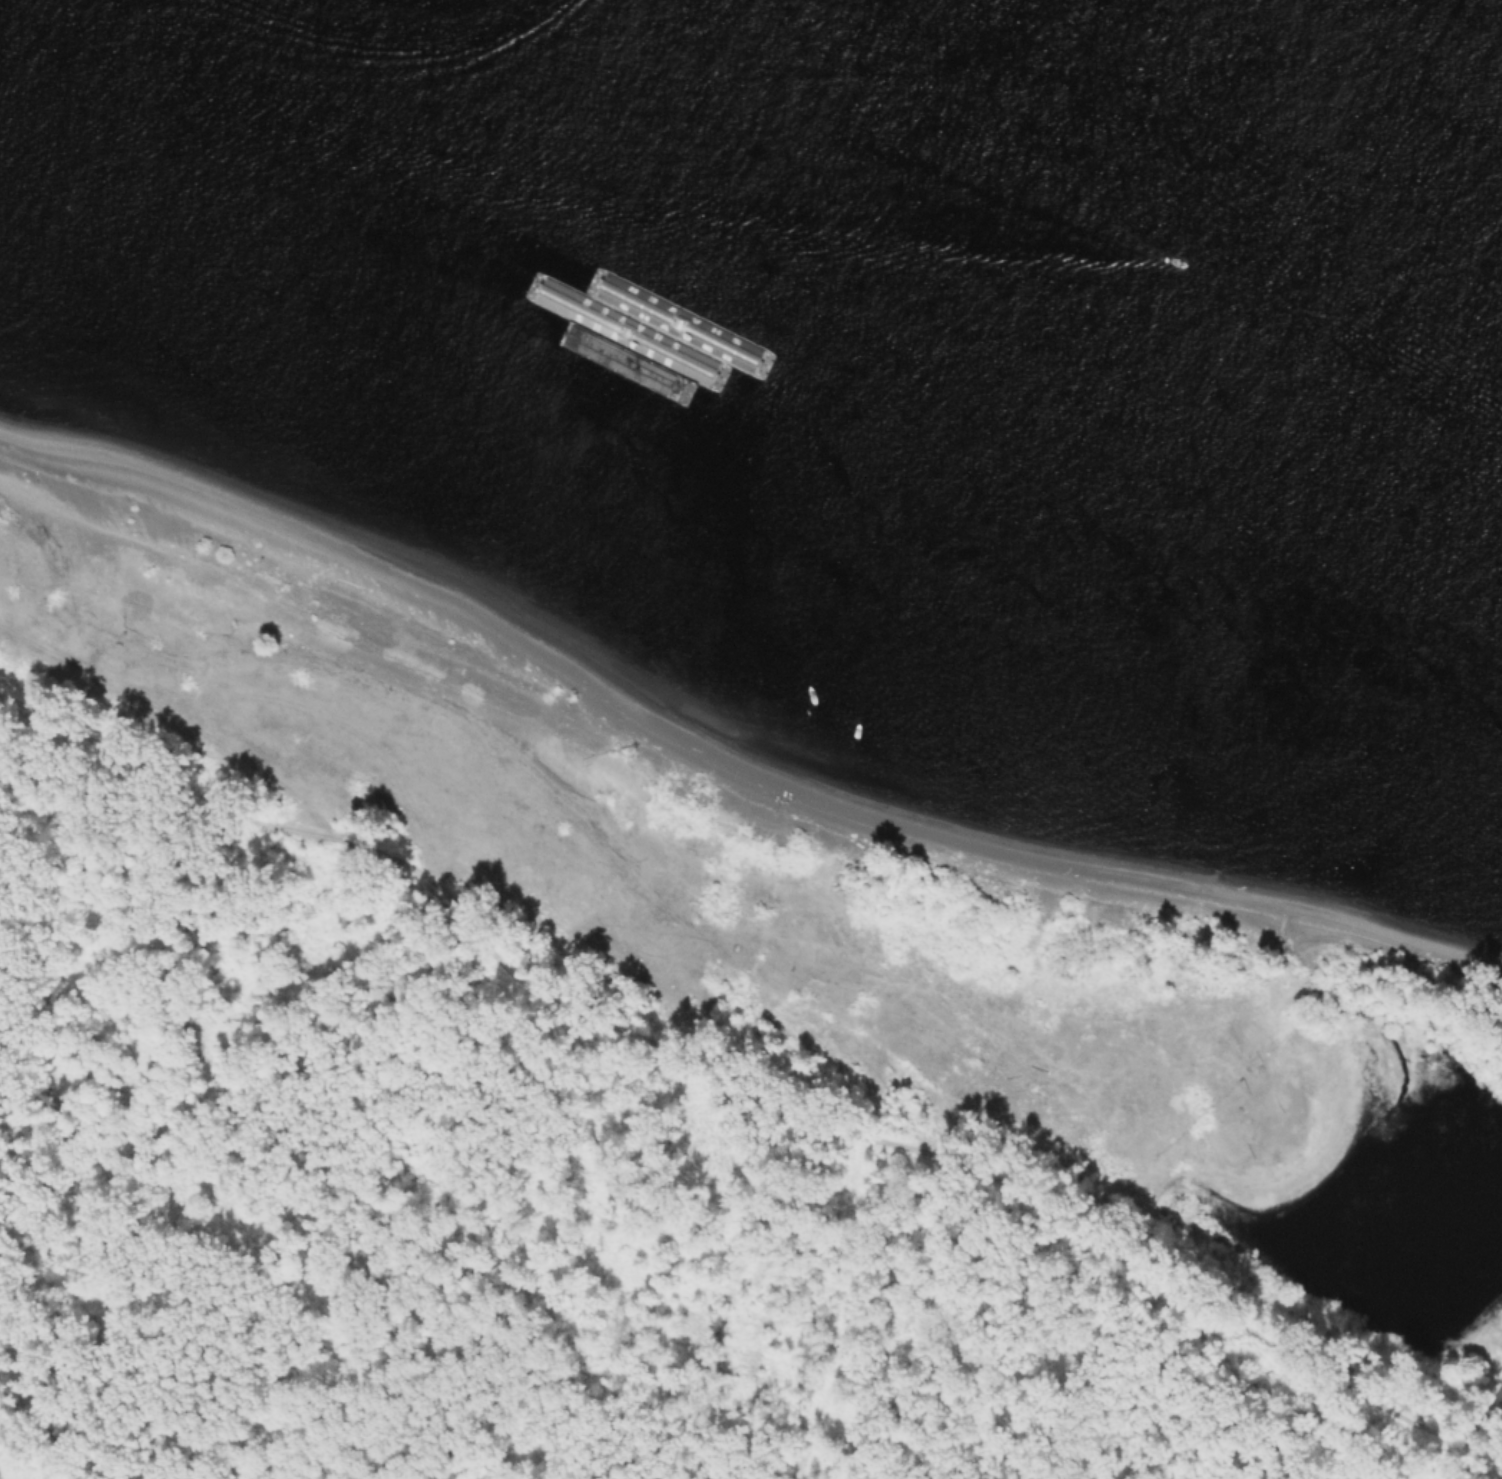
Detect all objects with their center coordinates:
river: (1322, 78)
road: (721, 1082)

